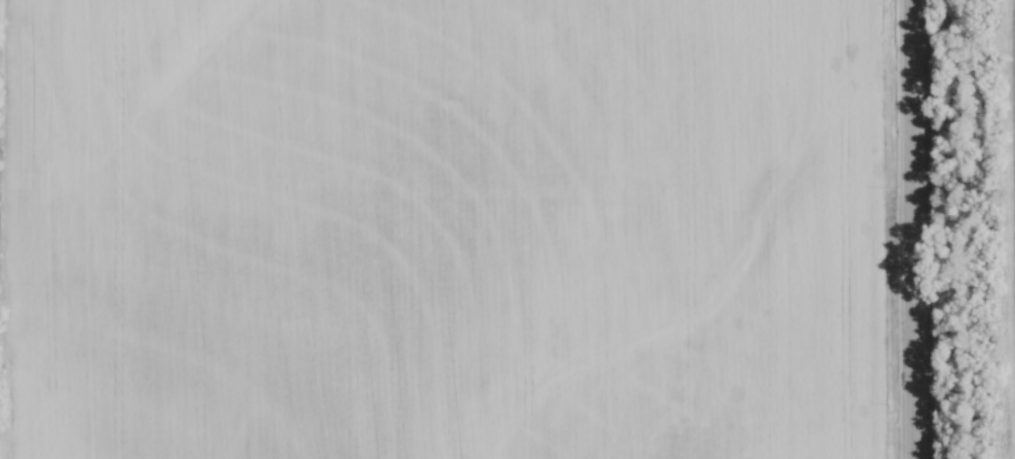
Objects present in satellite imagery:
road: (909, 229)

